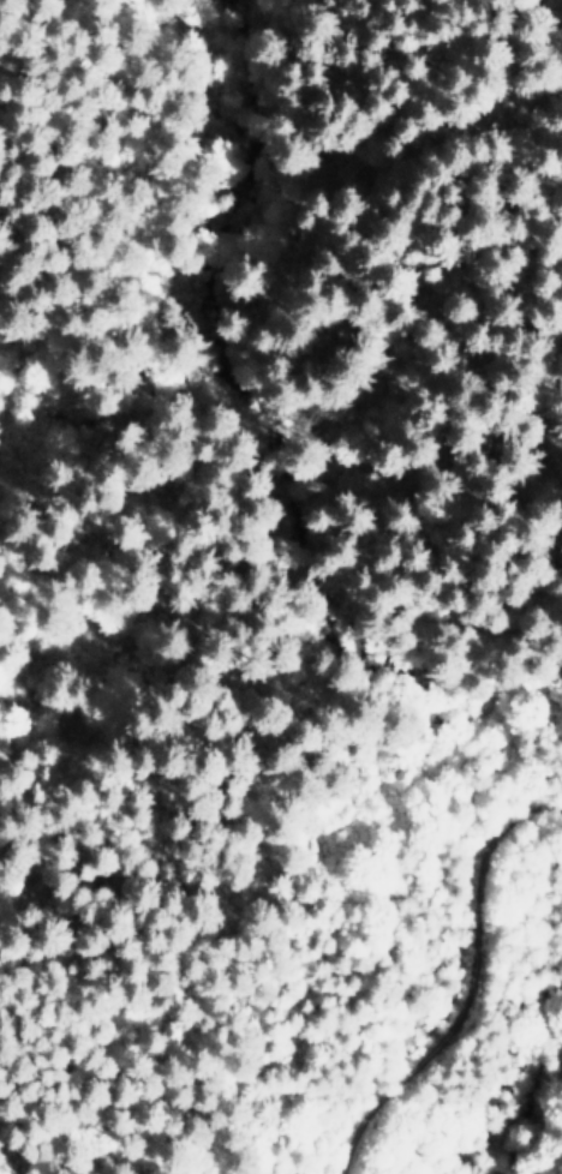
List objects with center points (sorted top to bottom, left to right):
road: (461, 974)

